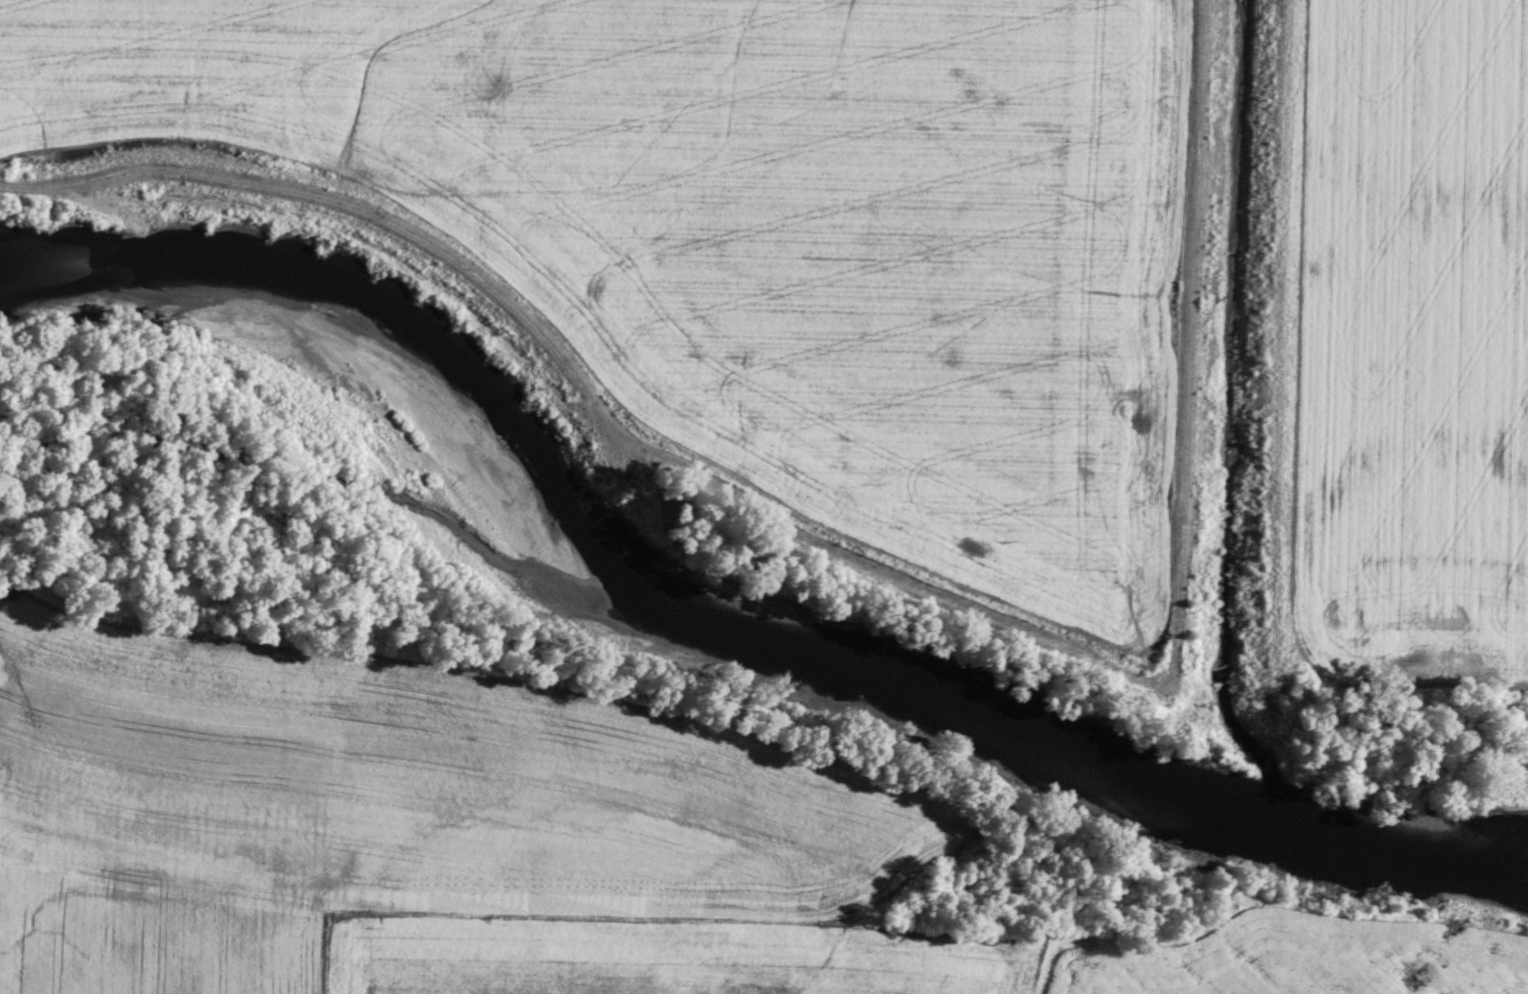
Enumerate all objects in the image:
river: (711, 615)

